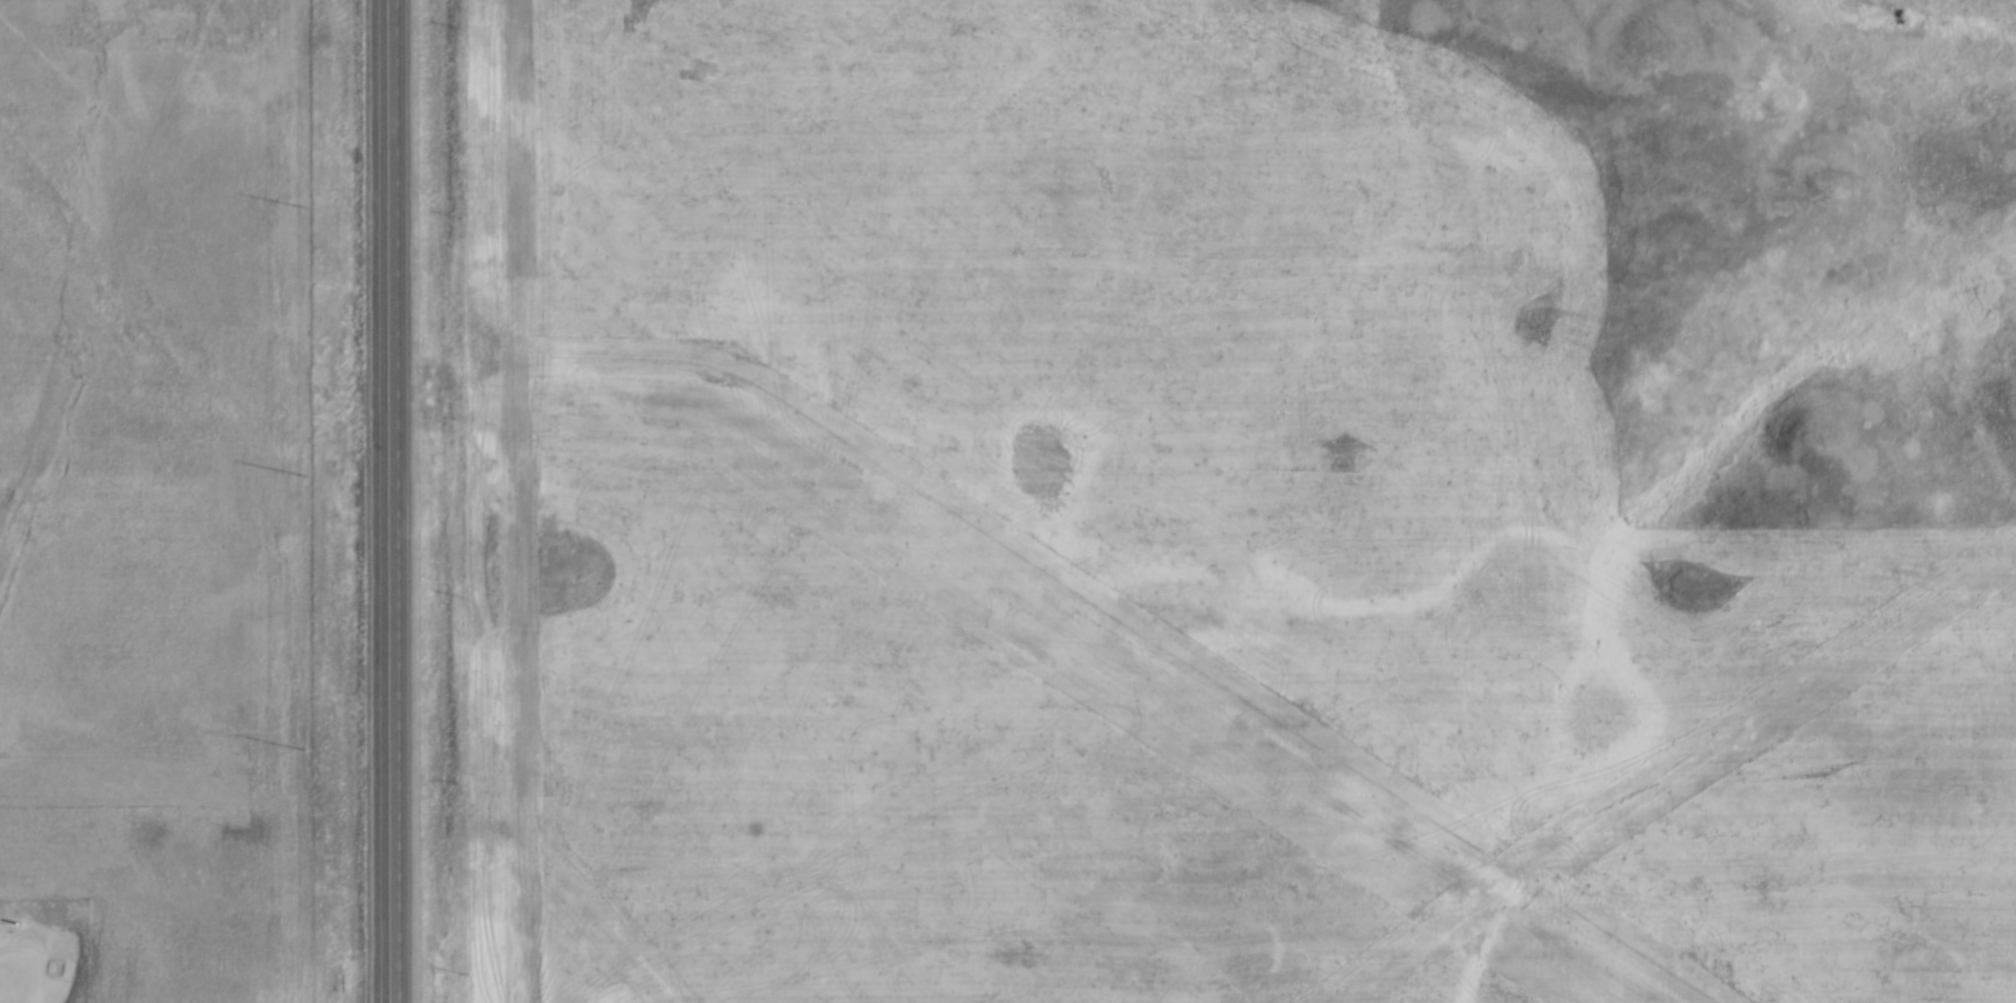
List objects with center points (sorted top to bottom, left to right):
road: (1998, 440)
road: (390, 501)

